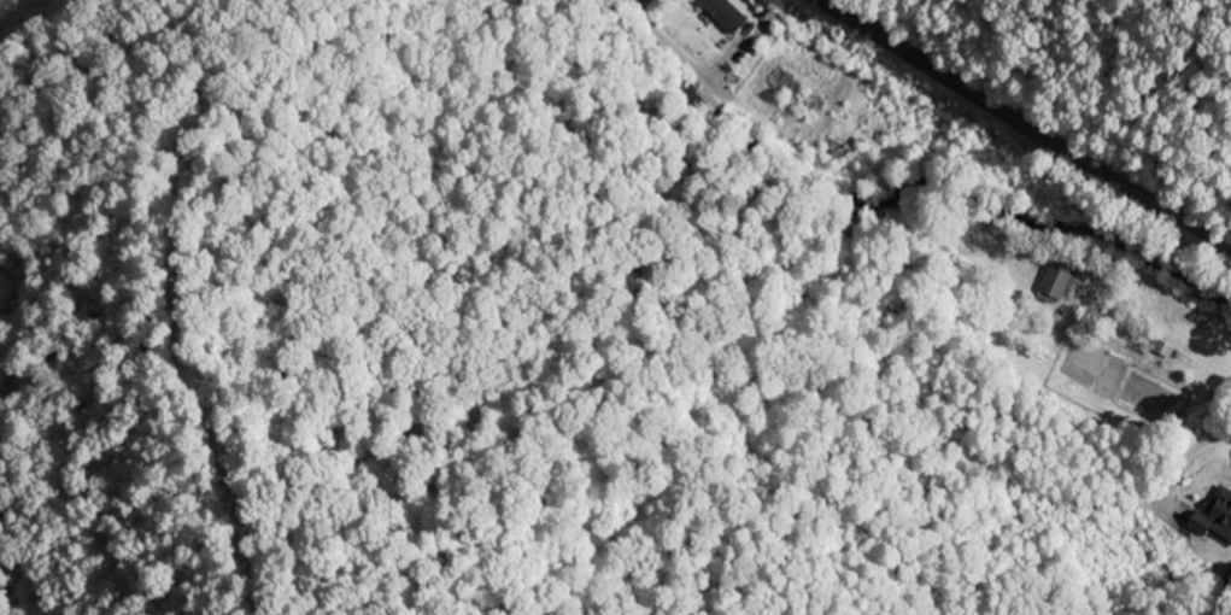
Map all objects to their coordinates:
building: (723, 14)
road: (719, 78)
road: (1027, 124)
building: (1054, 283)
building: (1162, 350)
road: (1185, 465)
building: (1214, 516)

